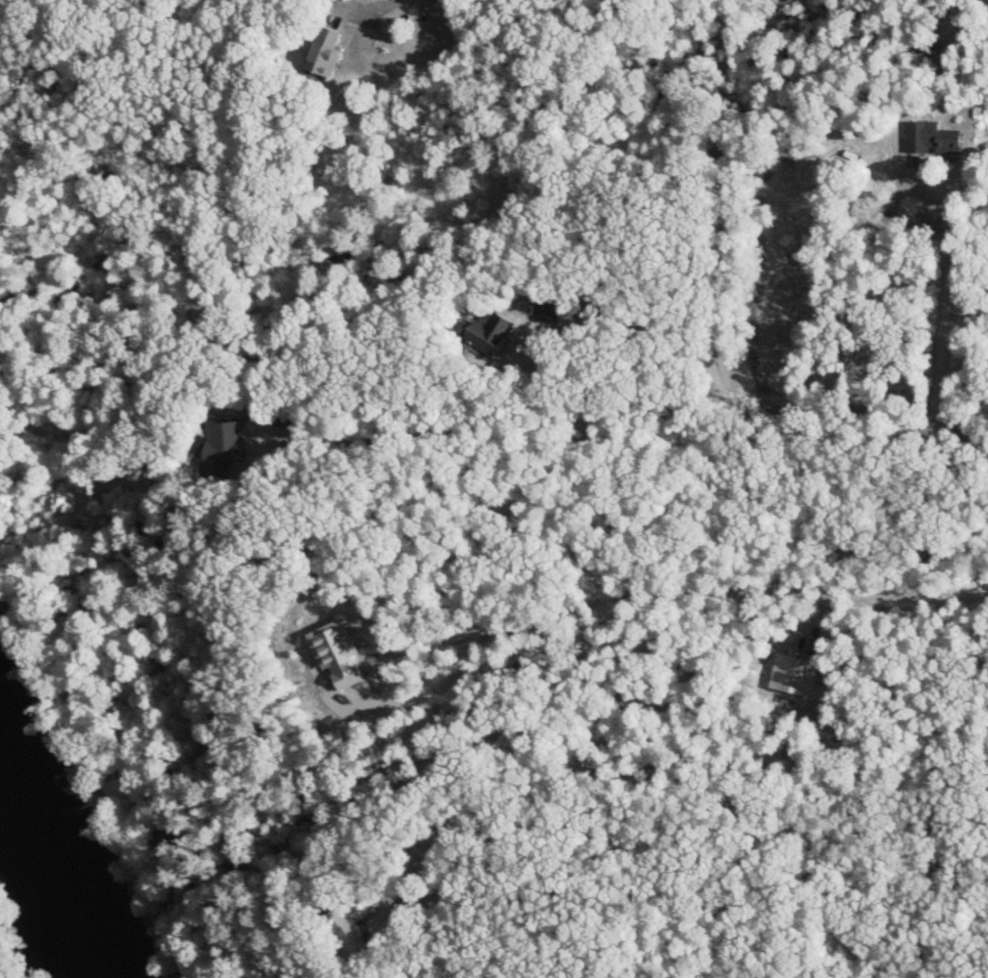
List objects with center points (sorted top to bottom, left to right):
road: (354, 2)
building: (930, 141)
road: (948, 263)
building: (546, 312)
building: (573, 312)
road: (630, 314)
road: (715, 330)
building: (488, 336)
road: (516, 419)
road: (649, 590)
river: (47, 879)
road: (530, 924)

